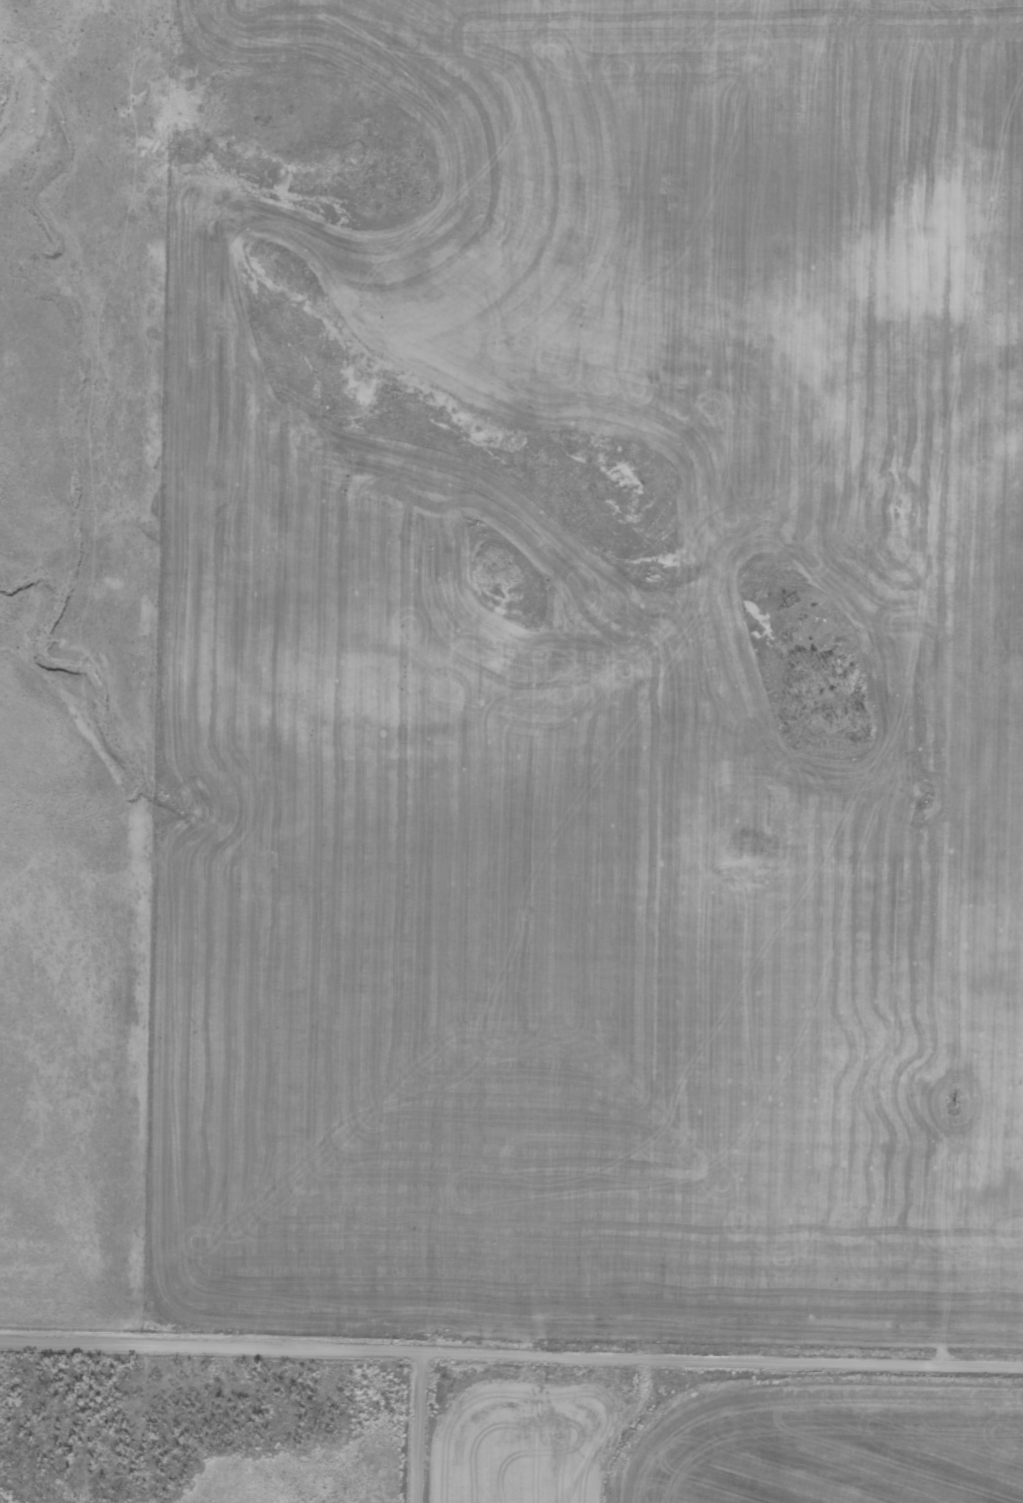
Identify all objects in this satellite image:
road: (511, 1350)
road: (771, 1408)
road: (421, 1425)

